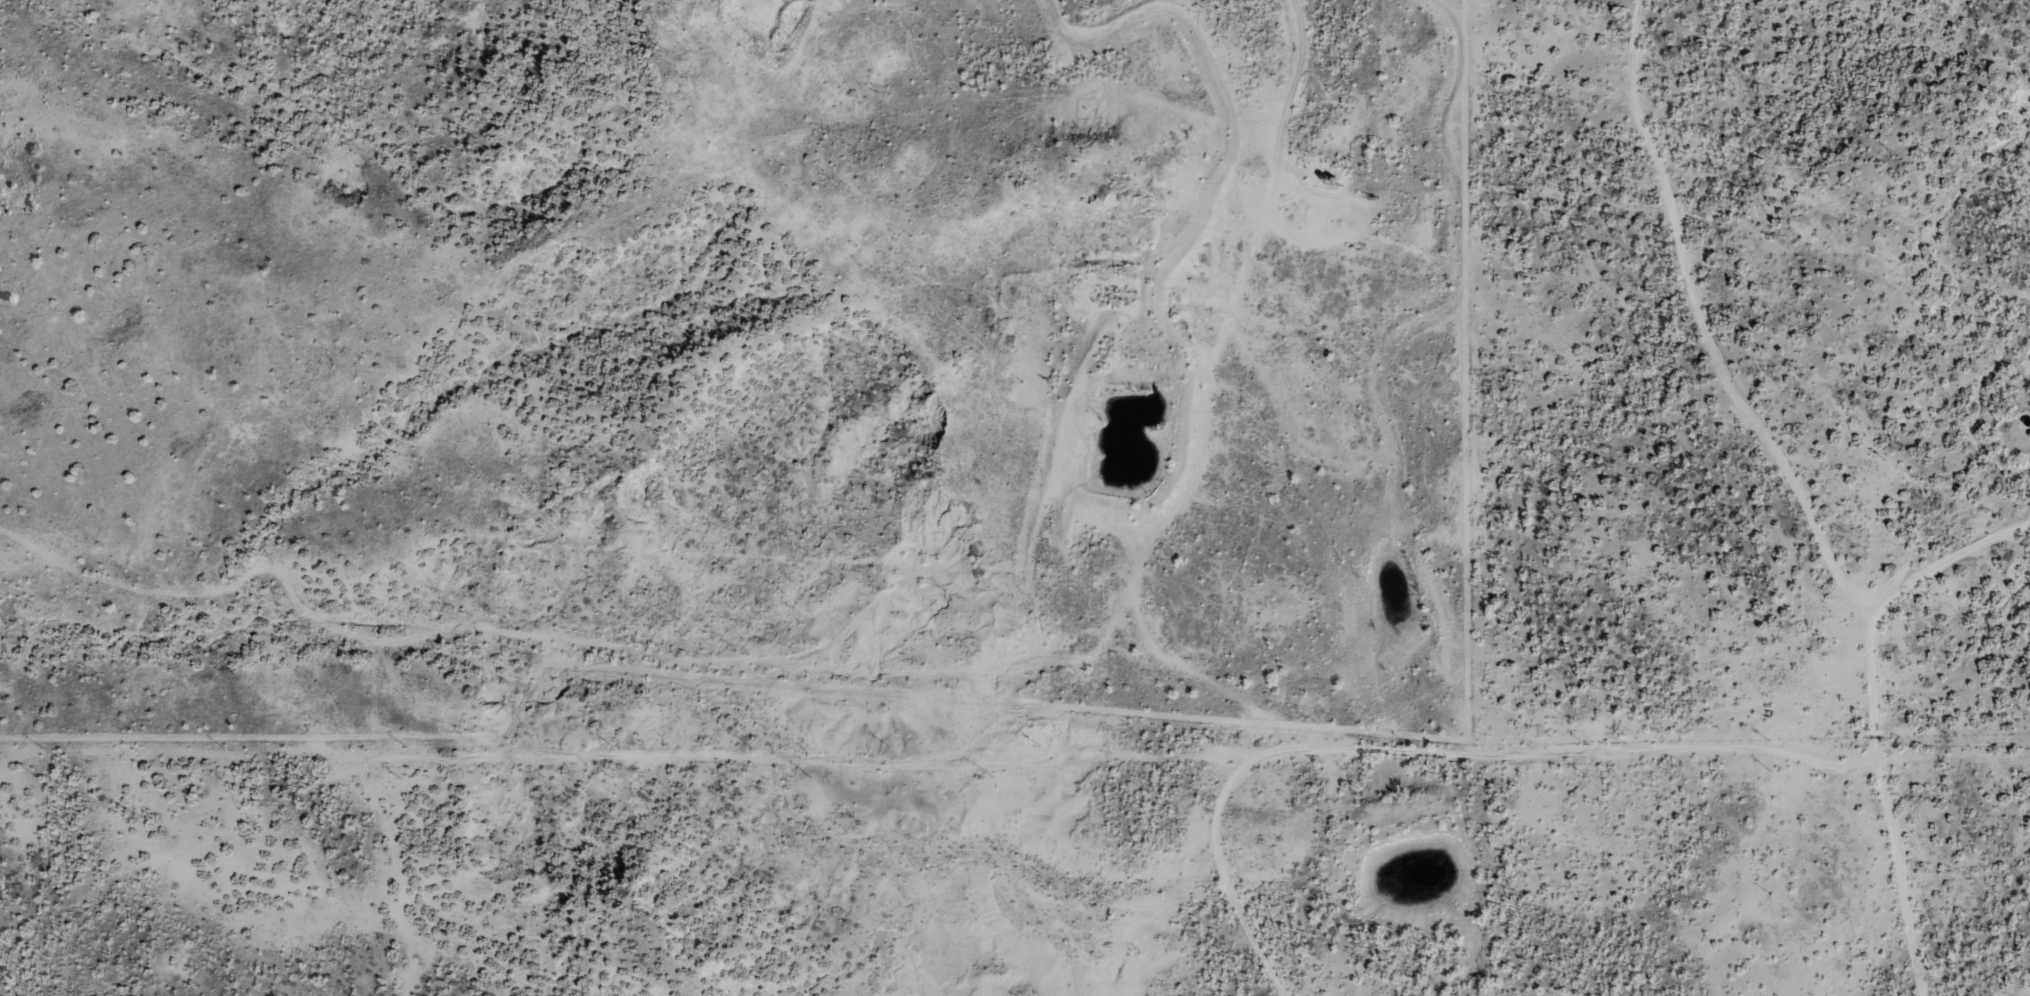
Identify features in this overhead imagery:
road: (1666, 320)
road: (1141, 719)
road: (1671, 789)
road: (1890, 880)

